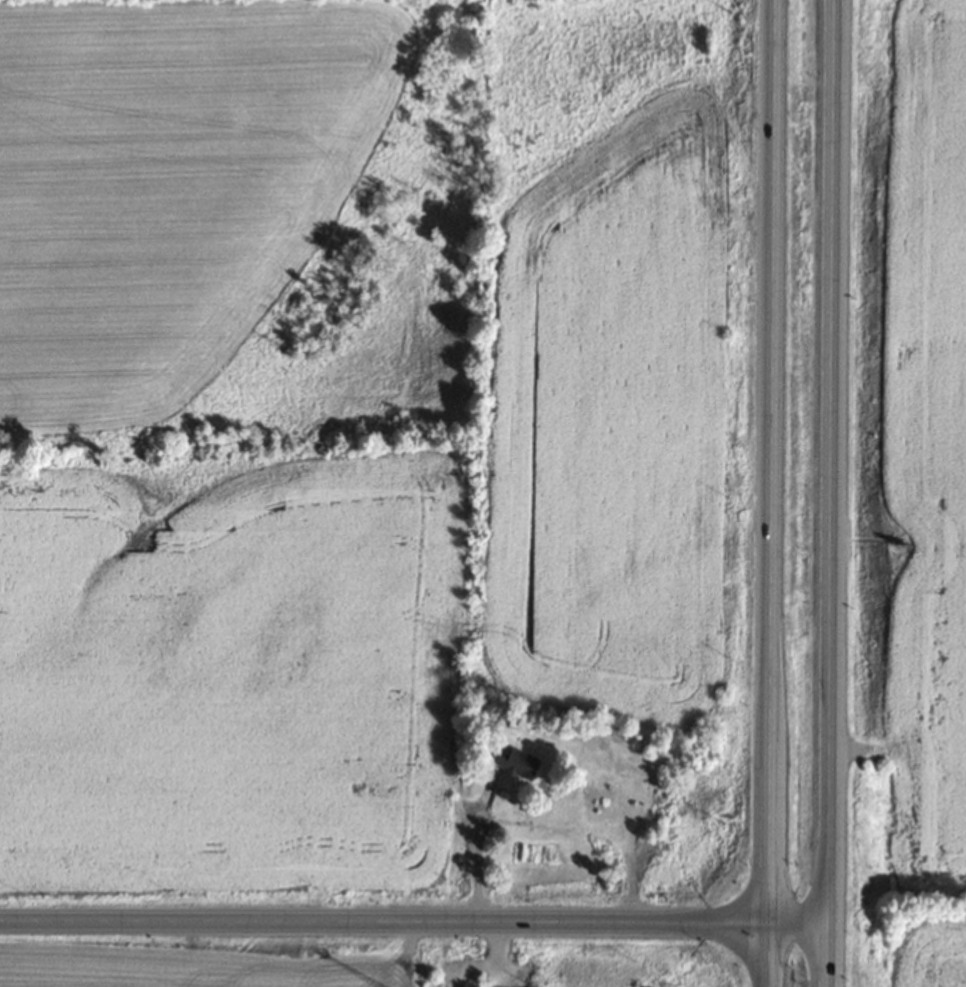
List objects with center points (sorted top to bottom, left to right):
road: (770, 493)
road: (829, 493)
building: (513, 761)
road: (474, 845)
road: (415, 921)

